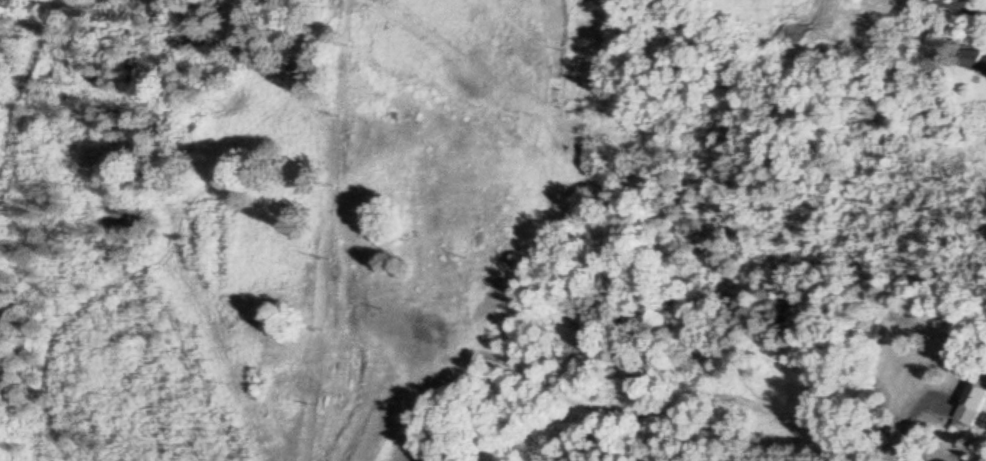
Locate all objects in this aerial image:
road: (961, 9)
building: (974, 60)
building: (974, 406)

